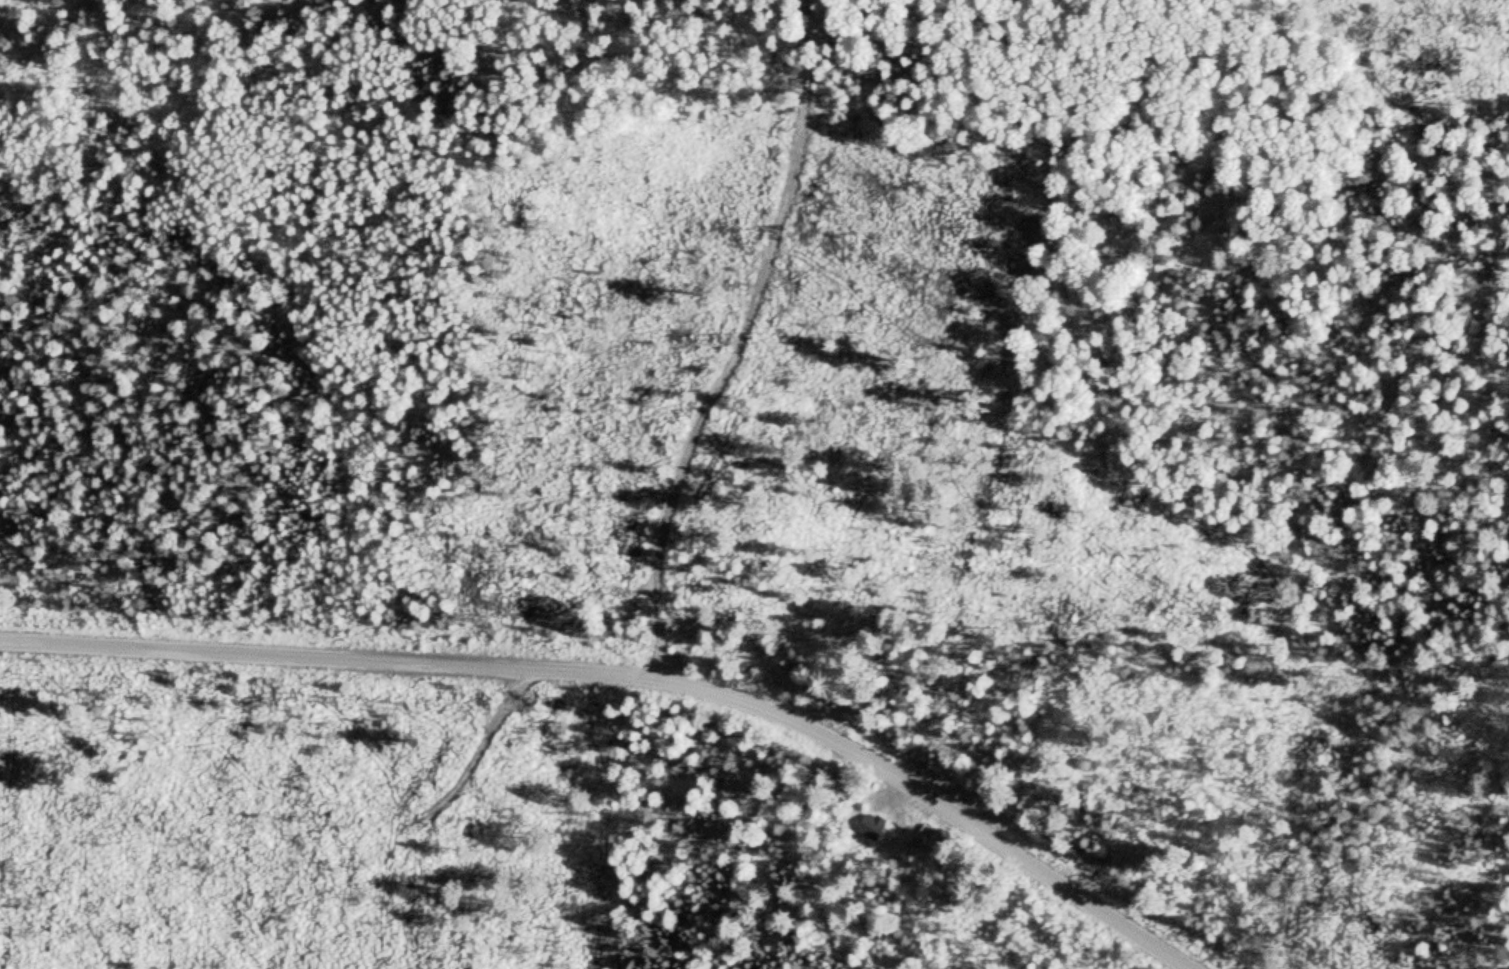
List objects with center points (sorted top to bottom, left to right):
road: (640, 673)
building: (875, 826)
building: (928, 833)

